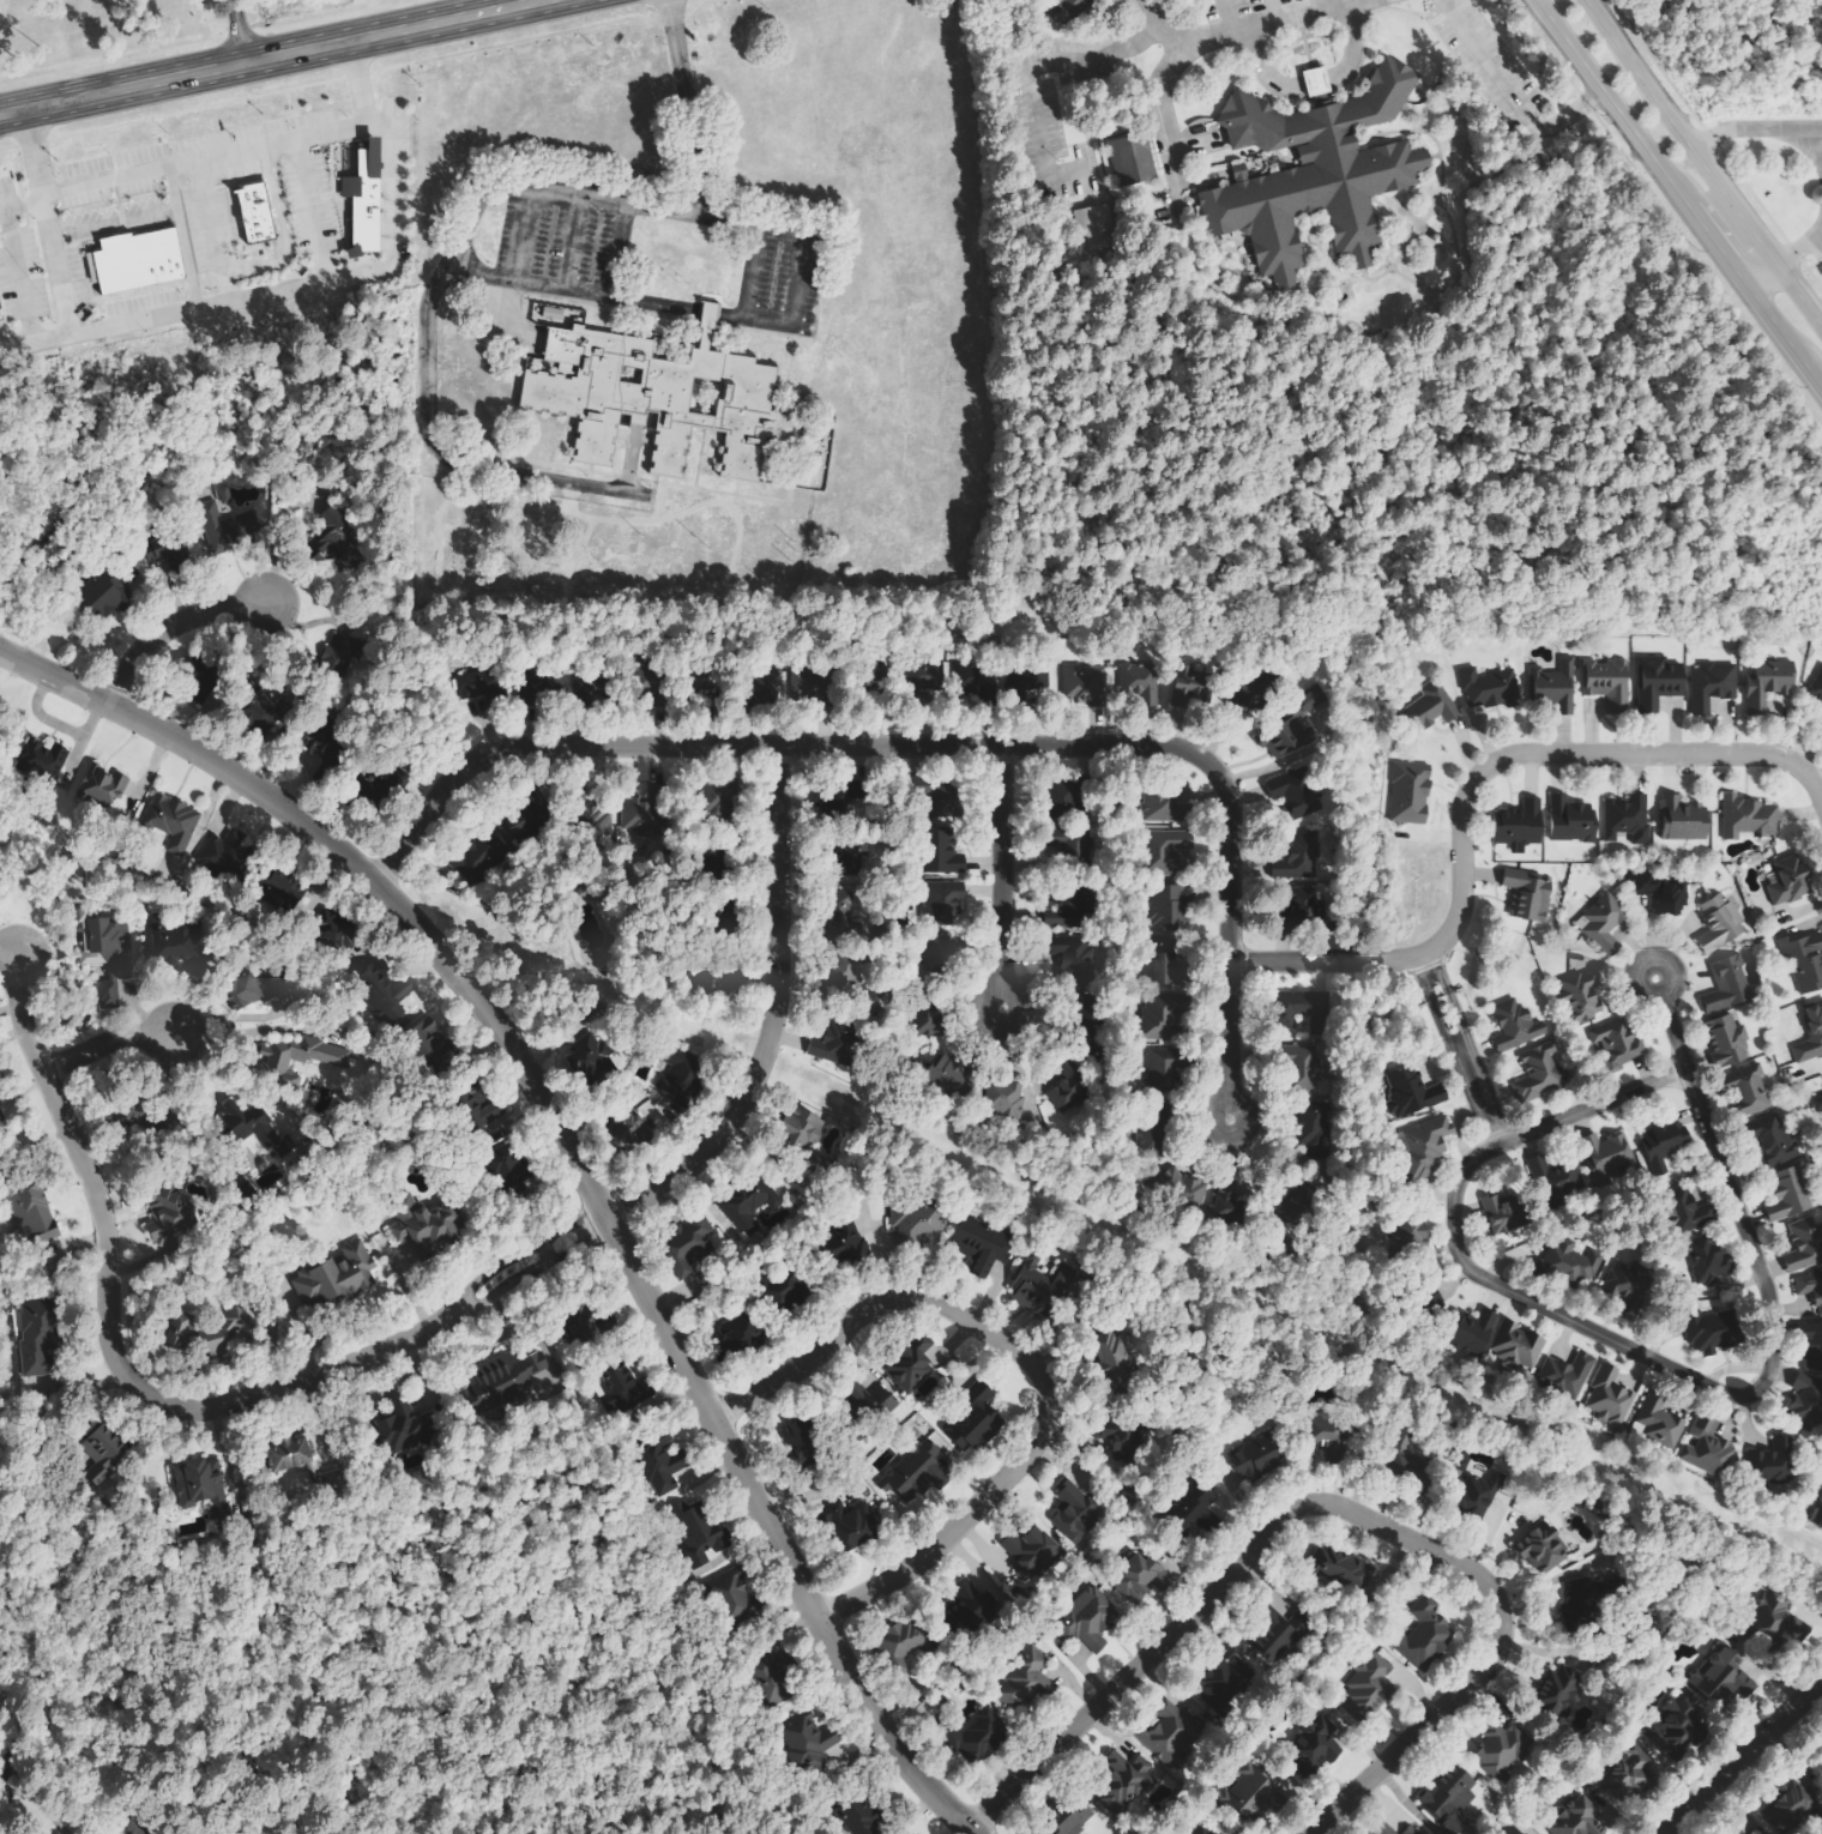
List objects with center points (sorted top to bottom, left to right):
building: (1073, 7)
road: (1237, 26)
road: (237, 31)
road: (1539, 47)
road: (271, 58)
road: (1022, 71)
road: (355, 73)
building: (1317, 82)
road: (1513, 91)
road: (286, 99)
road: (1164, 105)
road: (687, 107)
road: (1809, 128)
road: (1740, 129)
road: (1677, 131)
traffic signals: (1630, 133)
road: (1636, 141)
road: (98, 143)
road: (1810, 144)
road: (1714, 147)
building: (1133, 159)
road: (197, 163)
road: (14, 170)
building: (1310, 171)
road: (521, 189)
building: (1814, 194)
building: (366, 198)
road: (19, 206)
road: (312, 212)
building: (257, 213)
building: (1094, 228)
road: (278, 230)
road: (211, 233)
road: (520, 236)
parking lot: (565, 237)
road: (569, 243)
road: (1799, 245)
road: (617, 251)
building: (137, 261)
road: (1811, 261)
parking lot: (783, 272)
road: (1757, 275)
road: (16, 277)
road: (797, 280)
road: (309, 285)
road: (1797, 297)
road: (60, 302)
road: (701, 313)
building: (554, 314)
road: (1781, 340)
building: (648, 397)
road: (502, 442)
road: (698, 457)
road: (441, 458)
road: (629, 463)
road: (557, 464)
road: (587, 475)
road: (625, 476)
road: (735, 487)
road: (719, 490)
road: (659, 495)
building: (225, 527)
building: (336, 541)
building: (155, 550)
building: (105, 595)
road: (165, 627)
building: (345, 651)
building: (645, 681)
building: (1082, 682)
building: (1140, 683)
building: (1607, 683)
building: (1658, 683)
building: (1768, 683)
building: (791, 684)
building: (1190, 686)
building: (1712, 686)
building: (1556, 687)
building: (1816, 687)
building: (1491, 688)
building: (475, 694)
building: (1248, 695)
building: (265, 707)
building: (1431, 708)
building: (1293, 731)
building: (319, 747)
road: (931, 747)
building: (43, 760)
road: (1471, 779)
building: (103, 790)
building: (1411, 794)
building: (1293, 795)
building: (935, 797)
building: (1063, 800)
building: (718, 806)
building: (1164, 808)
building: (642, 818)
building: (1628, 819)
building: (1750, 819)
building: (1683, 820)
building: (527, 821)
building: (1571, 821)
building: (175, 824)
building: (1520, 826)
building: (1164, 851)
building: (941, 852)
building: (1301, 857)
building: (849, 863)
road: (999, 868)
building: (1790, 882)
building: (1660, 893)
building: (1528, 897)
building: (578, 898)
building: (942, 903)
building: (1168, 910)
building: (1307, 910)
building: (1069, 912)
building: (837, 921)
building: (1604, 924)
building: (1720, 924)
building: (339, 933)
building: (179, 948)
building: (941, 952)
building: (105, 957)
building: (1072, 958)
building: (1804, 961)
road: (1636, 963)
road: (1422, 965)
building: (1164, 966)
building: (840, 975)
road: (1437, 981)
road: (1420, 987)
building: (1727, 987)
building: (251, 991)
road: (984, 991)
building: (384, 993)
building: (1582, 997)
building: (1302, 1012)
building: (1162, 1015)
road: (768, 1019)
building: (928, 1020)
road: (1456, 1021)
building: (1514, 1025)
road: (1437, 1028)
building: (1810, 1033)
building: (1726, 1042)
road: (101, 1043)
building: (433, 1044)
building: (832, 1045)
building: (1617, 1045)
building: (296, 1058)
building: (1303, 1069)
building: (1163, 1070)
building: (1539, 1073)
building: (952, 1078)
building: (680, 1087)
building: (1064, 1088)
building: (1748, 1088)
building: (1412, 1094)
building: (1007, 1102)
building: (1817, 1103)
road: (1214, 1105)
building: (321, 1110)
building: (1, 1121)
building: (253, 1128)
building: (801, 1128)
road: (1539, 1128)
building: (634, 1130)
building: (481, 1133)
building: (1316, 1133)
building: (1150, 1138)
building: (1773, 1140)
building: (1664, 1142)
building: (1425, 1147)
building: (1604, 1157)
road: (569, 1164)
building: (1555, 1180)
building: (1788, 1195)
building: (1203, 1196)
building: (746, 1208)
building: (1685, 1212)
building: (30, 1214)
building: (1501, 1217)
building: (170, 1220)
road: (590, 1224)
building: (918, 1224)
building: (423, 1226)
road: (545, 1238)
building: (982, 1244)
building: (690, 1245)
building: (1804, 1245)
building: (846, 1250)
road: (556, 1255)
building: (1707, 1259)
building: (1573, 1262)
building: (338, 1277)
road: (475, 1281)
building: (1038, 1289)
building: (1810, 1289)
road: (487, 1298)
road: (109, 1332)
building: (180, 1332)
building: (229, 1332)
building: (1473, 1333)
building: (737, 1335)
building: (1717, 1335)
building: (38, 1337)
building: (1814, 1346)
building: (1518, 1347)
building: (1110, 1361)
road: (1024, 1362)
building: (911, 1367)
building: (1568, 1374)
building: (503, 1378)
building: (620, 1389)
building: (1611, 1396)
road: (1730, 1396)
building: (1808, 1400)
building: (976, 1419)
building: (1659, 1419)
building: (404, 1429)
building: (1401, 1436)
building: (800, 1440)
building: (1707, 1447)
building: (102, 1450)
building: (289, 1452)
building: (1462, 1459)
building: (1773, 1462)
building: (662, 1464)
building: (1253, 1465)
building: (1417, 1466)
building: (915, 1473)
building: (1479, 1495)
road: (1333, 1507)
building: (1075, 1512)
building: (1201, 1513)
building: (1817, 1515)
building: (849, 1525)
building: (696, 1531)
building: (1542, 1549)
building: (1031, 1551)
building: (1343, 1569)
building: (1146, 1575)
building: (731, 1597)
building: (1576, 1599)
building: (970, 1606)
building: (1090, 1615)
building: (1775, 1616)
building: (1278, 1633)
building: (1423, 1635)
building: (905, 1642)
building: (772, 1678)
building: (1225, 1684)
building: (1561, 1687)
building: (1368, 1688)
building: (1001, 1707)
building: (1681, 1720)
building: (1171, 1733)
building: (806, 1741)
building: (1315, 1744)
building: (1501, 1752)
road: (1739, 1755)
building: (1127, 1776)
building: (1253, 1794)
building: (1449, 1796)
building: (1790, 1806)
building: (863, 1816)
building: (1576, 1818)
building: (1076, 1821)
building: (129, 1828)

